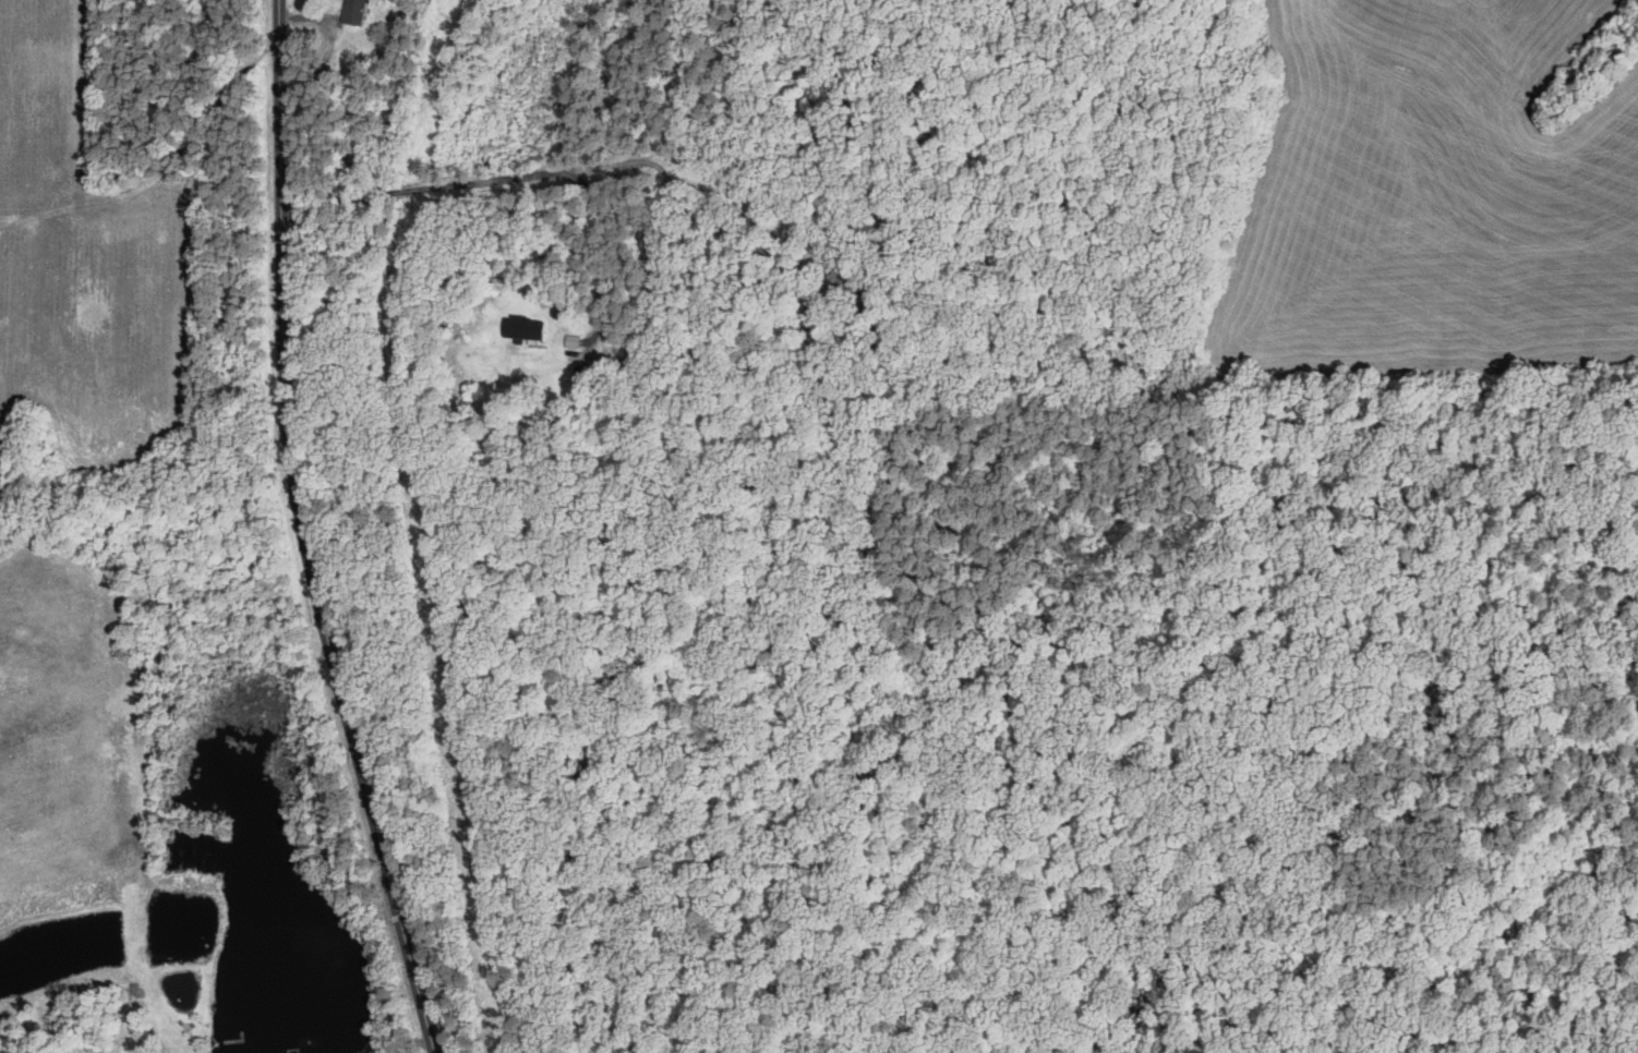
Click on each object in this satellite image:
building: (352, 12)
road: (518, 177)
building: (523, 328)
building: (571, 341)
road: (306, 533)
road: (399, 1037)

